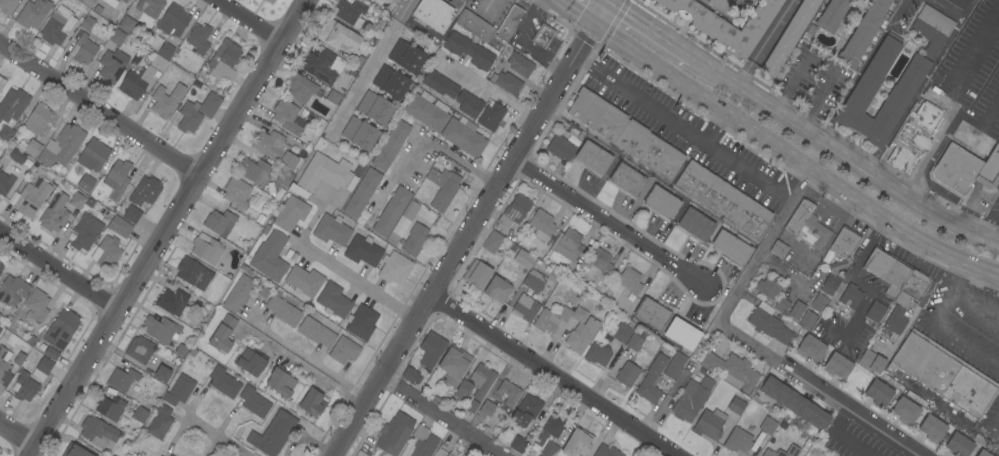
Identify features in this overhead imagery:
building: (853, 0)
building: (123, 1)
building: (269, 1)
road: (606, 1)
building: (111, 2)
building: (86, 3)
building: (959, 3)
building: (719, 4)
building: (7, 6)
road: (489, 6)
building: (149, 7)
road: (947, 9)
building: (348, 11)
building: (32, 13)
road: (574, 13)
building: (433, 14)
building: (832, 15)
building: (173, 21)
road: (249, 21)
building: (86, 22)
building: (509, 22)
building: (726, 23)
building: (126, 24)
building: (474, 26)
building: (57, 27)
road: (650, 30)
building: (862, 33)
building: (338, 35)
building: (542, 35)
building: (789, 36)
building: (116, 37)
building: (198, 38)
road: (764, 43)
road: (526, 44)
building: (83, 49)
building: (468, 50)
building: (165, 51)
building: (406, 56)
building: (224, 61)
building: (158, 63)
road: (823, 63)
building: (519, 64)
building: (112, 65)
building: (322, 66)
road: (369, 66)
road: (707, 67)
road: (860, 70)
road: (974, 70)
building: (911, 77)
building: (135, 82)
building: (391, 82)
building: (506, 82)
building: (1, 83)
building: (440, 85)
road: (920, 86)
building: (301, 88)
road: (491, 91)
building: (333, 97)
building: (165, 100)
building: (467, 104)
building: (210, 105)
building: (375, 108)
road: (100, 109)
building: (11, 111)
building: (427, 111)
building: (597, 115)
building: (491, 116)
building: (189, 117)
building: (287, 117)
building: (38, 120)
road: (676, 127)
road: (712, 128)
road: (980, 128)
building: (359, 133)
building: (463, 136)
building: (912, 136)
road: (421, 138)
building: (634, 139)
building: (390, 145)
building: (62, 146)
building: (32, 147)
building: (560, 147)
building: (274, 149)
building: (970, 150)
road: (926, 154)
building: (93, 155)
building: (17, 156)
building: (592, 157)
road: (792, 158)
building: (662, 159)
road: (857, 167)
building: (955, 170)
building: (254, 171)
building: (990, 171)
building: (325, 175)
building: (117, 178)
building: (284, 178)
road: (788, 178)
building: (627, 179)
building: (5, 183)
building: (85, 183)
building: (145, 192)
building: (236, 192)
building: (361, 193)
building: (444, 193)
building: (32, 195)
building: (723, 199)
building: (77, 200)
building: (89, 202)
building: (661, 202)
building: (407, 210)
building: (514, 210)
building: (391, 211)
building: (54, 213)
building: (130, 213)
building: (290, 213)
building: (261, 218)
road: (605, 221)
building: (220, 223)
building: (541, 224)
building: (695, 224)
building: (118, 226)
building: (806, 226)
road: (168, 227)
building: (331, 230)
road: (473, 231)
building: (85, 232)
building: (414, 239)
building: (844, 241)
building: (492, 242)
building: (568, 245)
building: (731, 247)
building: (206, 249)
building: (778, 249)
building: (362, 250)
building: (106, 253)
building: (270, 257)
building: (523, 259)
building: (600, 261)
building: (0, 265)
building: (837, 265)
building: (394, 267)
building: (0, 269)
road: (59, 269)
building: (887, 270)
building: (193, 273)
building: (476, 274)
road: (858, 275)
road: (957, 276)
building: (630, 280)
building: (303, 281)
road: (357, 281)
building: (533, 283)
building: (830, 284)
building: (767, 287)
building: (912, 287)
building: (12, 290)
building: (497, 290)
building: (238, 292)
building: (850, 296)
building: (333, 300)
building: (172, 302)
building: (818, 303)
building: (782, 305)
building: (36, 306)
building: (525, 307)
road: (975, 308)
building: (796, 310)
building: (283, 311)
building: (875, 311)
building: (651, 313)
building: (551, 319)
building: (808, 319)
building: (895, 320)
building: (361, 322)
building: (768, 324)
building: (160, 329)
building: (580, 331)
building: (316, 332)
building: (59, 333)
building: (622, 333)
building: (223, 334)
building: (682, 334)
building: (886, 334)
road: (952, 334)
building: (636, 339)
road: (749, 341)
building: (810, 348)
building: (139, 349)
building: (180, 349)
building: (431, 349)
building: (344, 350)
road: (305, 354)
building: (597, 354)
building: (19, 359)
building: (250, 361)
building: (872, 361)
building: (454, 365)
building: (674, 365)
building: (837, 365)
building: (4, 367)
building: (41, 368)
building: (733, 370)
building: (943, 373)
building: (162, 374)
building: (627, 374)
building: (409, 375)
road: (550, 377)
building: (122, 379)
building: (481, 380)
building: (651, 380)
building: (224, 382)
building: (281, 382)
building: (892, 382)
building: (24, 386)
building: (463, 388)
building: (179, 390)
building: (508, 392)
building: (878, 393)
building: (691, 399)
building: (254, 402)
building: (312, 403)
building: (794, 403)
building: (472, 406)
building: (736, 406)
building: (109, 407)
building: (484, 410)
building: (526, 410)
building: (905, 411)
building: (140, 414)
road: (437, 419)
building: (159, 422)
building: (709, 424)
building: (767, 425)
road: (997, 426)
building: (551, 428)
building: (932, 428)
building: (97, 431)
road: (18, 433)
building: (272, 434)
building: (394, 434)
road: (841, 434)
road: (216, 438)
building: (737, 440)
building: (423, 442)
building: (577, 443)
building: (518, 444)
building: (958, 445)
building: (549, 450)
building: (75, 451)
building: (606, 451)
park: (360, 453)
building: (769, 453)
building: (982, 453)
building: (162, 454)
building: (450, 454)
building: (170, 455)
building: (463, 455)

